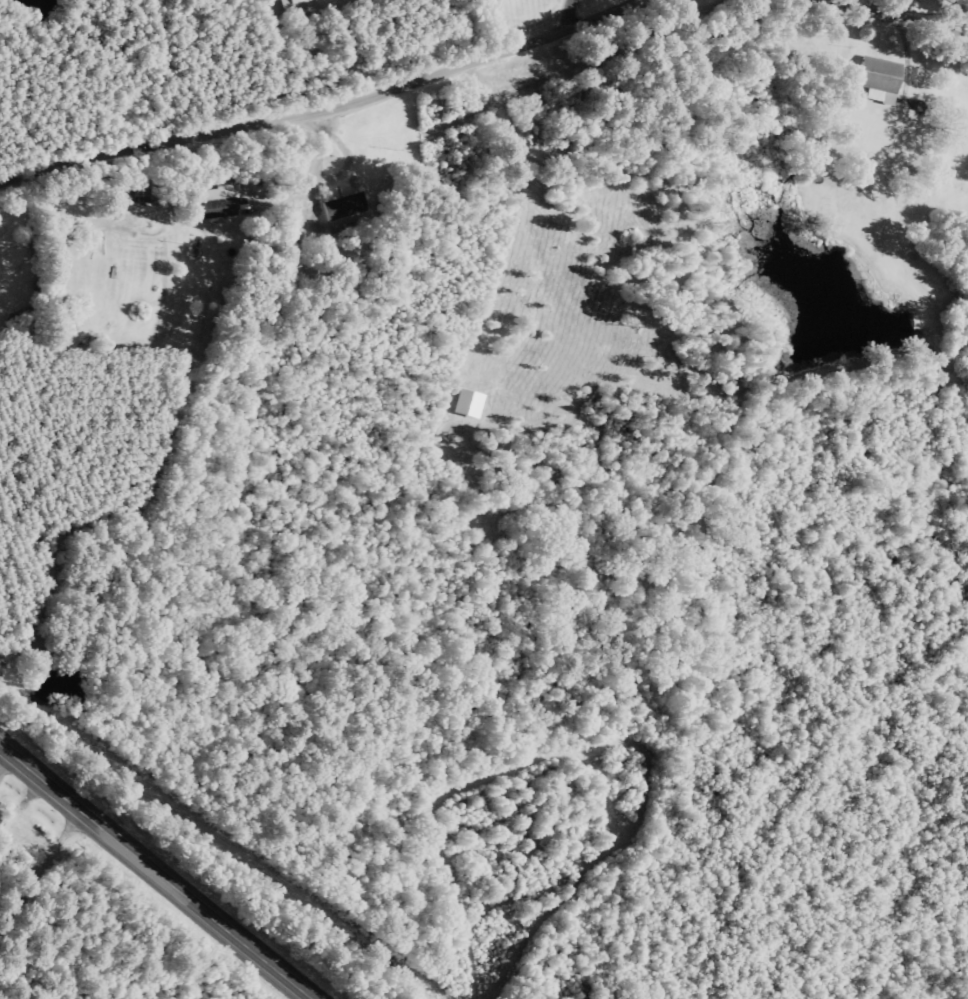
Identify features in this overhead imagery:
building: (299, 4)
road: (572, 8)
road: (477, 47)
building: (876, 77)
building: (212, 201)
building: (341, 209)
building: (466, 402)
road: (37, 854)
road: (157, 870)

